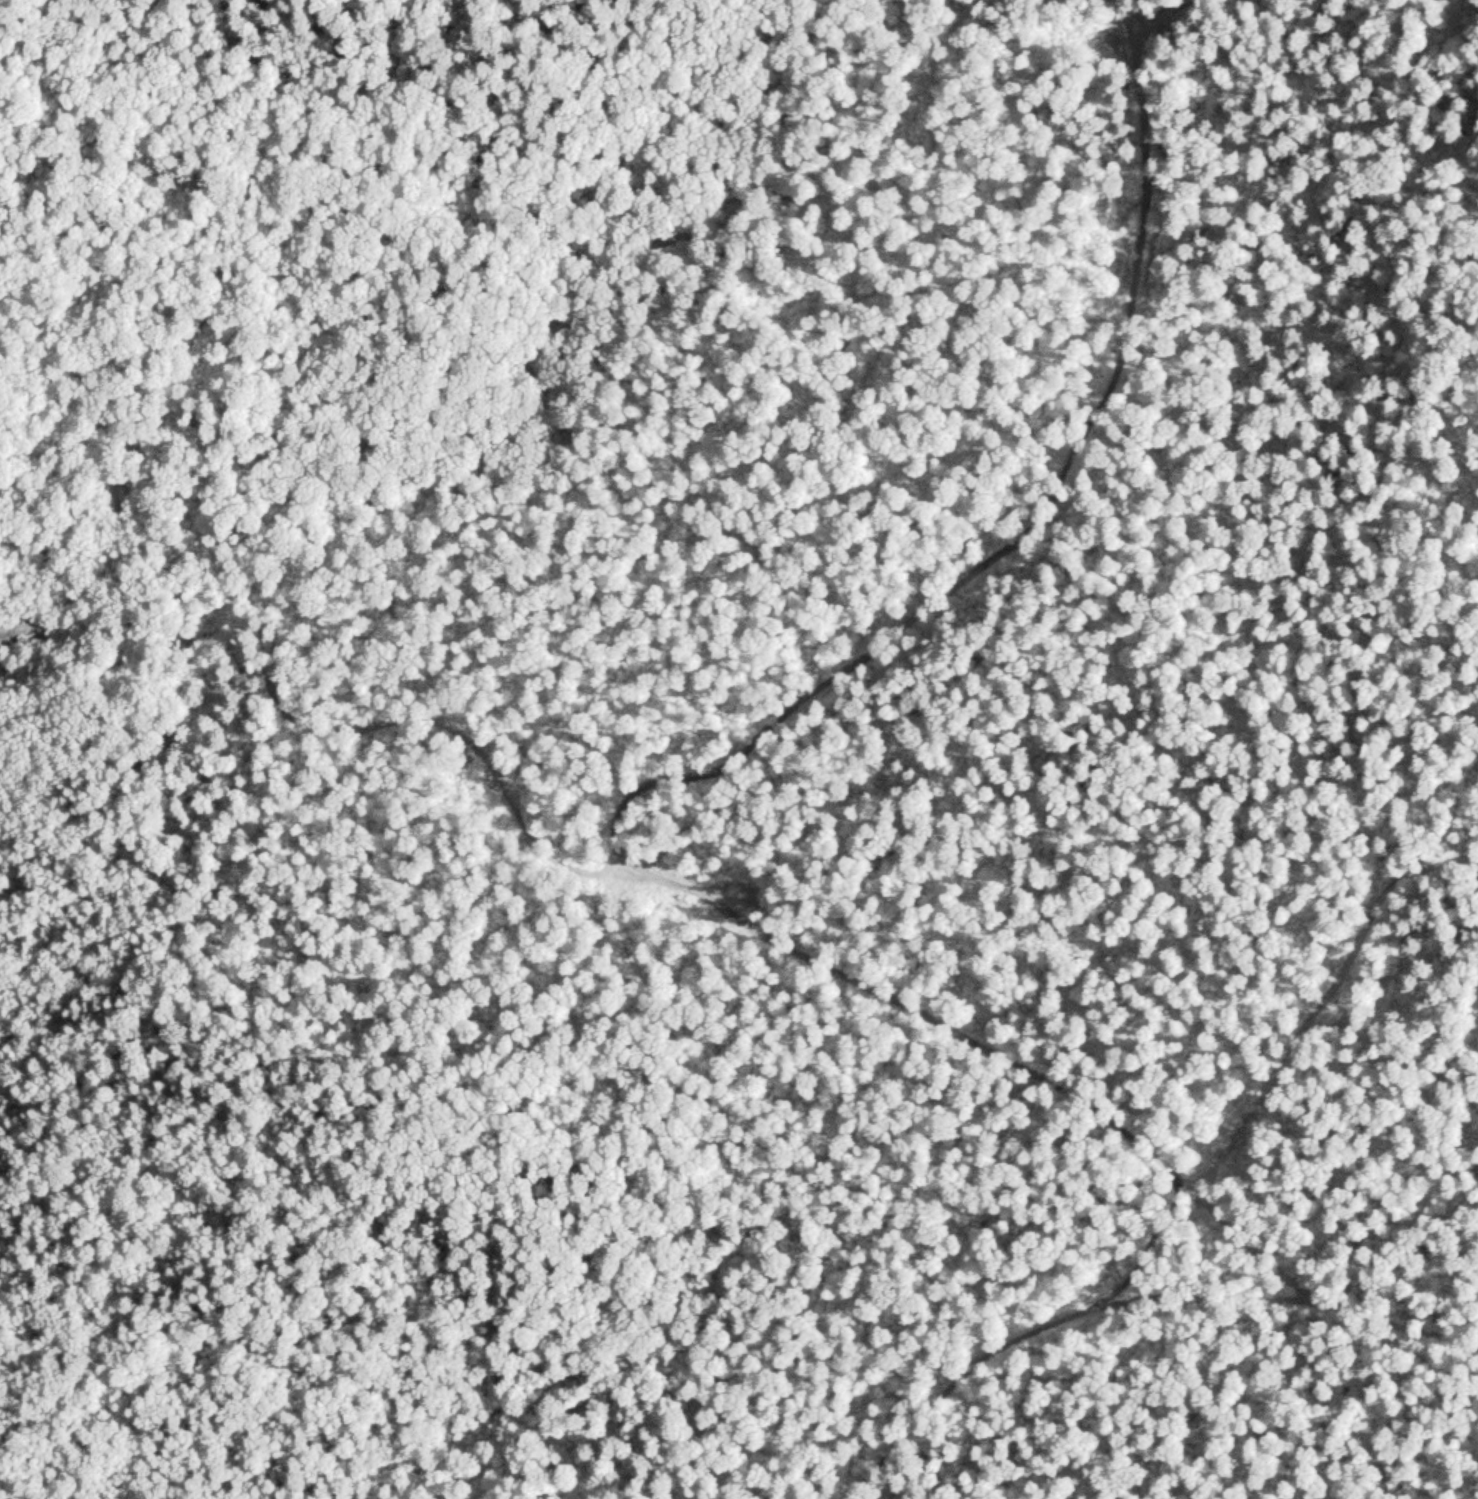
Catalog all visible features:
road: (1228, 16)
road: (1269, 1085)

